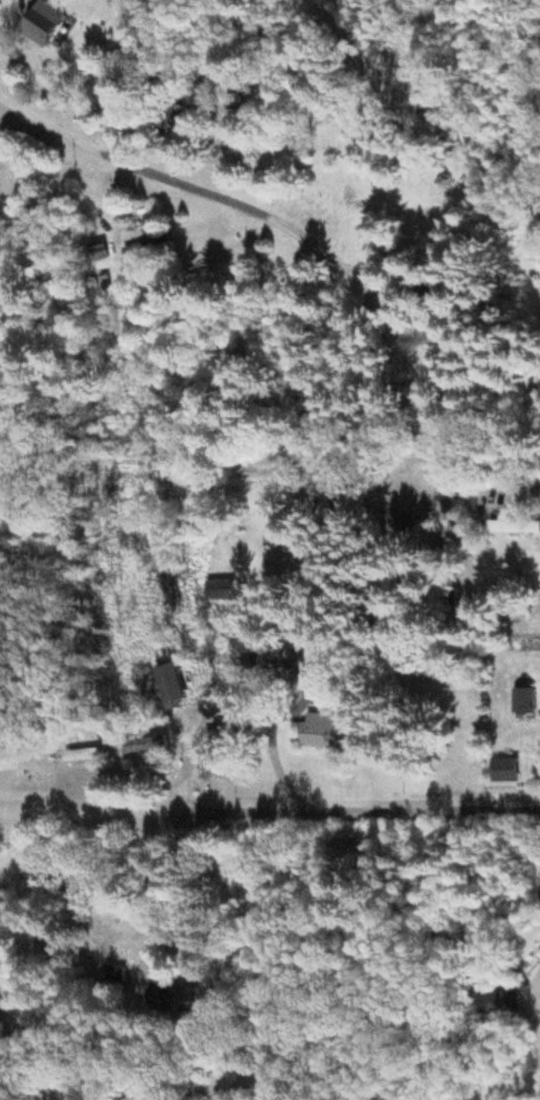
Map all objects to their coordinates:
building: (46, 24)
building: (169, 123)
road: (270, 205)
building: (162, 250)
building: (95, 255)
road: (35, 272)
road: (269, 462)
building: (536, 493)
building: (513, 527)
building: (218, 592)
building: (450, 608)
building: (167, 692)
building: (521, 704)
building: (320, 735)
building: (143, 748)
building: (502, 772)
road: (351, 811)
building: (539, 951)
building: (111, 976)
building: (168, 1002)
building: (492, 1006)
road: (48, 1061)
road: (519, 1092)

